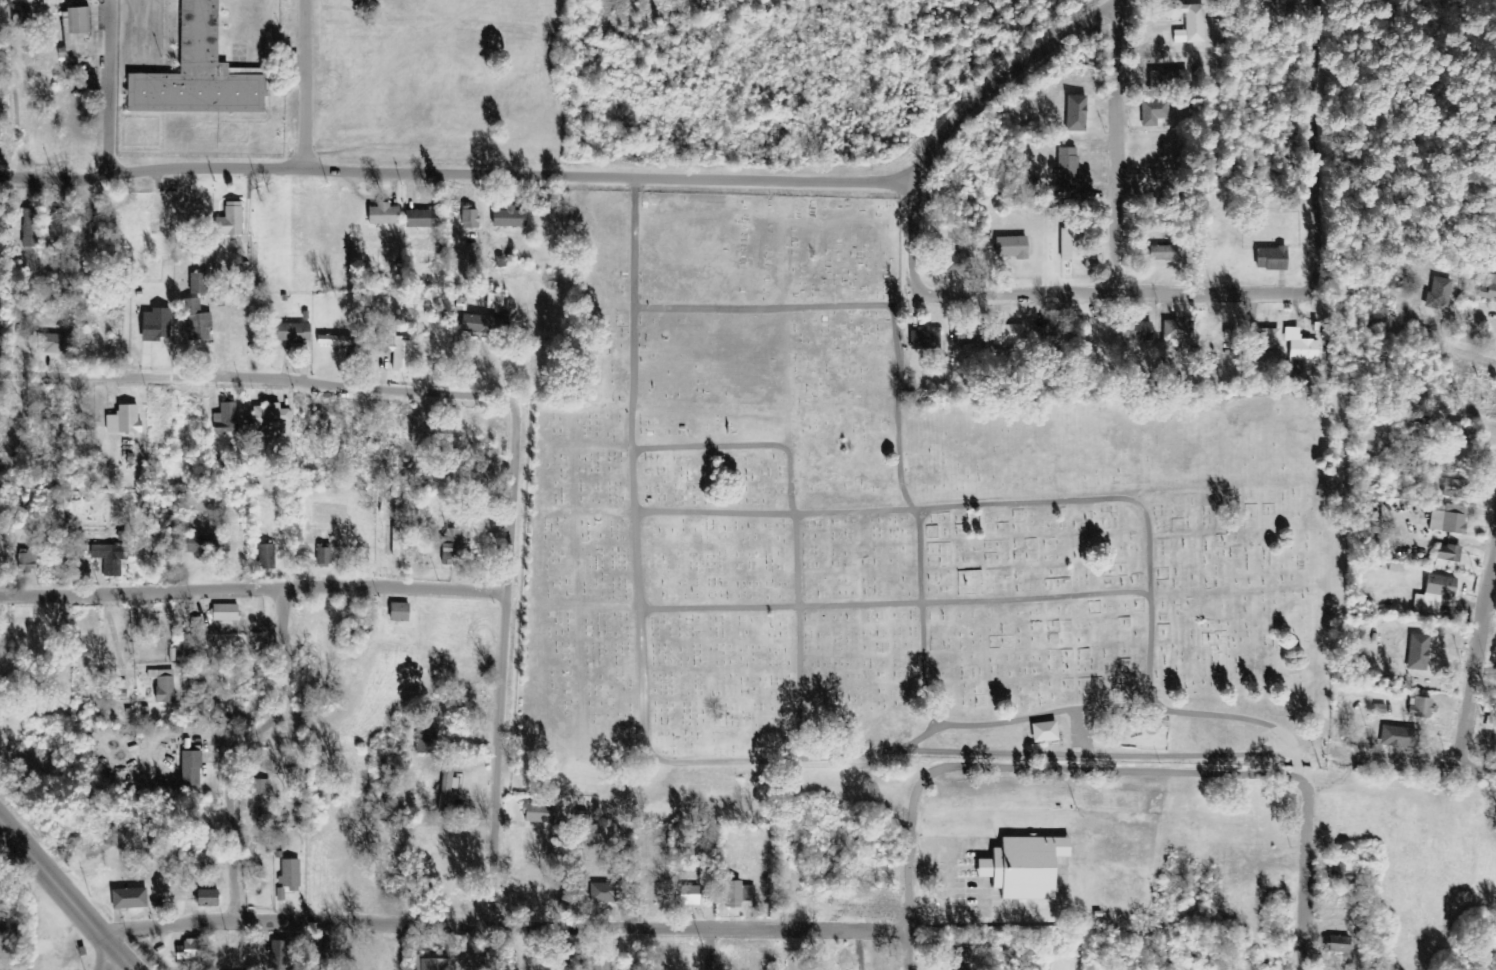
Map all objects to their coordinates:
building: (22, 15)
building: (1185, 21)
building: (78, 33)
building: (201, 74)
road: (1000, 78)
building: (1165, 80)
road: (303, 87)
road: (105, 89)
building: (1150, 112)
building: (1072, 113)
road: (1115, 147)
road: (1362, 168)
building: (1064, 170)
road: (459, 176)
building: (386, 215)
building: (511, 218)
building: (424, 219)
building: (471, 219)
building: (232, 221)
building: (57, 225)
building: (32, 229)
building: (1009, 248)
building: (1161, 253)
building: (1268, 259)
building: (952, 263)
building: (199, 284)
building: (1487, 290)
road: (1055, 294)
building: (1437, 294)
building: (497, 304)
building: (159, 325)
building: (484, 325)
building: (1134, 331)
building: (294, 332)
building: (1176, 332)
building: (1007, 335)
building: (1048, 335)
building: (968, 336)
building: (1264, 338)
building: (923, 339)
building: (337, 341)
building: (55, 344)
building: (1300, 348)
building: (398, 351)
road: (1456, 353)
building: (998, 375)
road: (257, 381)
building: (271, 415)
building: (228, 419)
building: (126, 421)
building: (1457, 433)
building: (1447, 487)
building: (1445, 519)
building: (92, 528)
park: (892, 530)
building: (396, 542)
building: (201, 544)
building: (452, 546)
building: (1445, 553)
building: (324, 555)
building: (267, 557)
building: (112, 558)
building: (28, 561)
road: (252, 591)
building: (1433, 594)
building: (402, 612)
building: (227, 613)
road: (1476, 648)
building: (1415, 653)
road: (500, 662)
building: (165, 686)
building: (1419, 708)
building: (1487, 710)
building: (1040, 732)
building: (1395, 737)
building: (427, 740)
road: (242, 747)
road: (1308, 754)
road: (1408, 761)
road: (711, 762)
building: (192, 769)
road: (1115, 772)
building: (448, 788)
building: (541, 814)
road: (909, 861)
building: (1020, 868)
road: (1303, 869)
building: (290, 879)
building: (608, 893)
road: (62, 894)
building: (740, 894)
building: (690, 896)
building: (132, 899)
building: (210, 899)
road: (498, 922)
building: (1333, 945)
road: (710, 949)
building: (192, 951)
building: (280, 955)
building: (959, 960)
road: (102, 964)
building: (436, 965)

